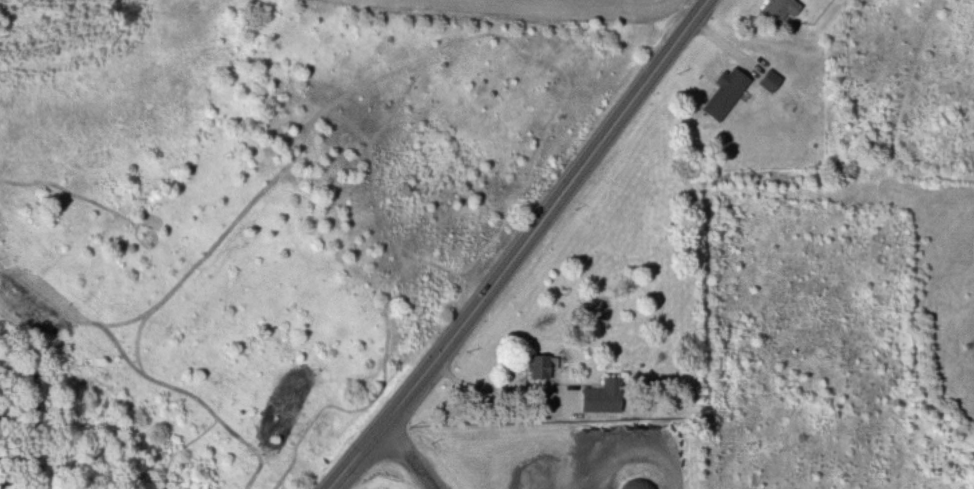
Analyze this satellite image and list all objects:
building: (785, 10)
building: (773, 80)
building: (729, 93)
road: (522, 246)
building: (543, 367)
road: (492, 387)
building: (607, 397)
road: (413, 455)

